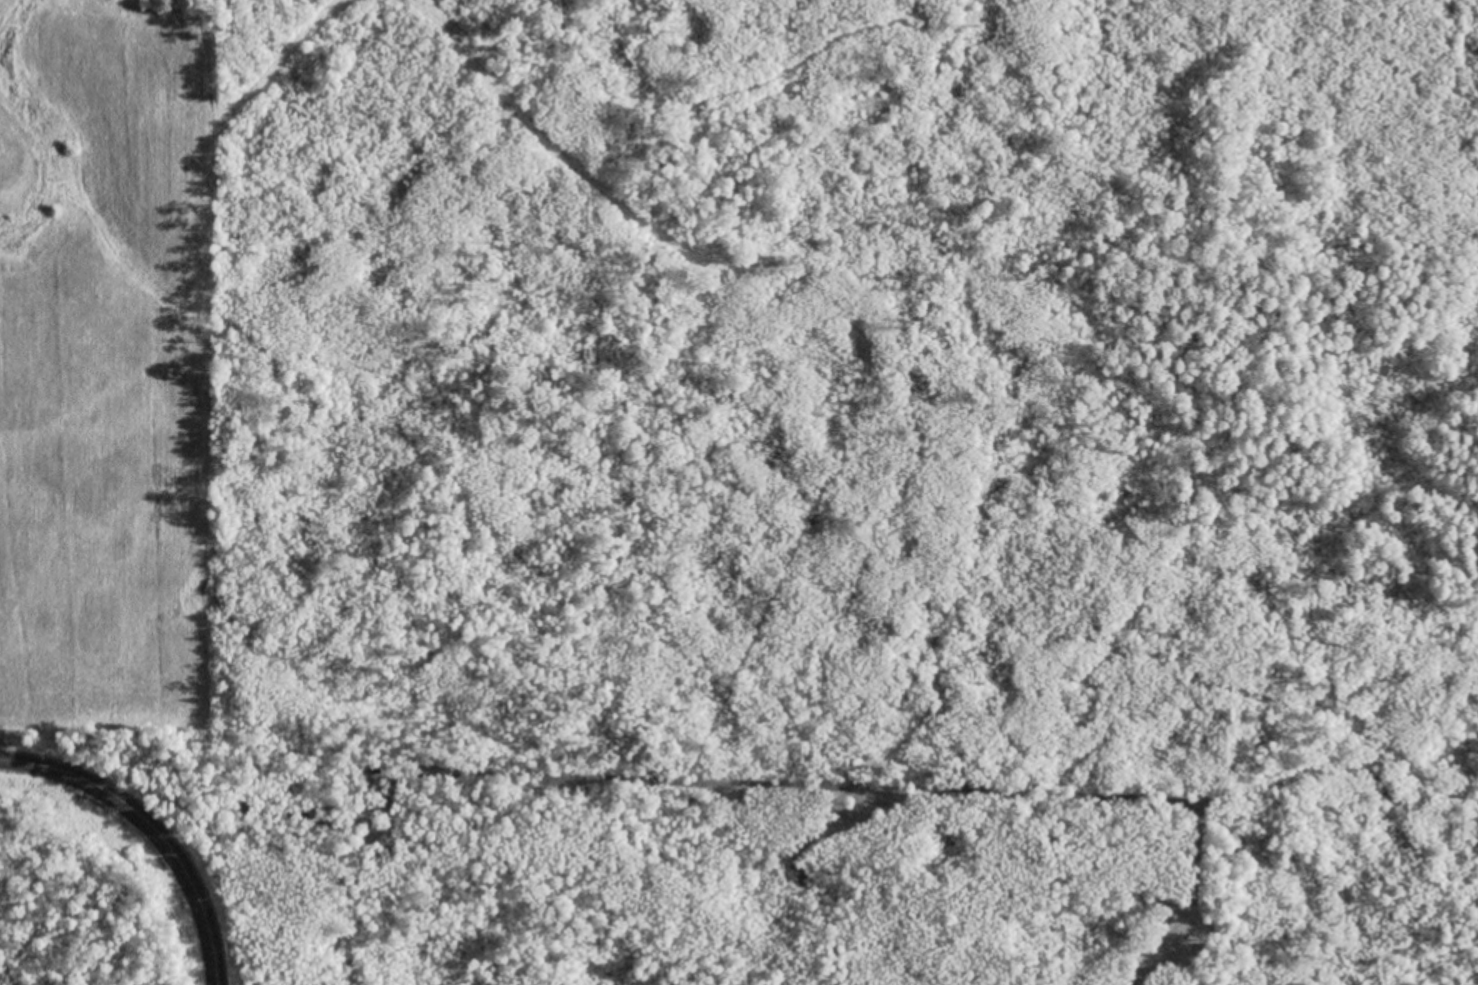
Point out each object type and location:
road: (162, 821)

